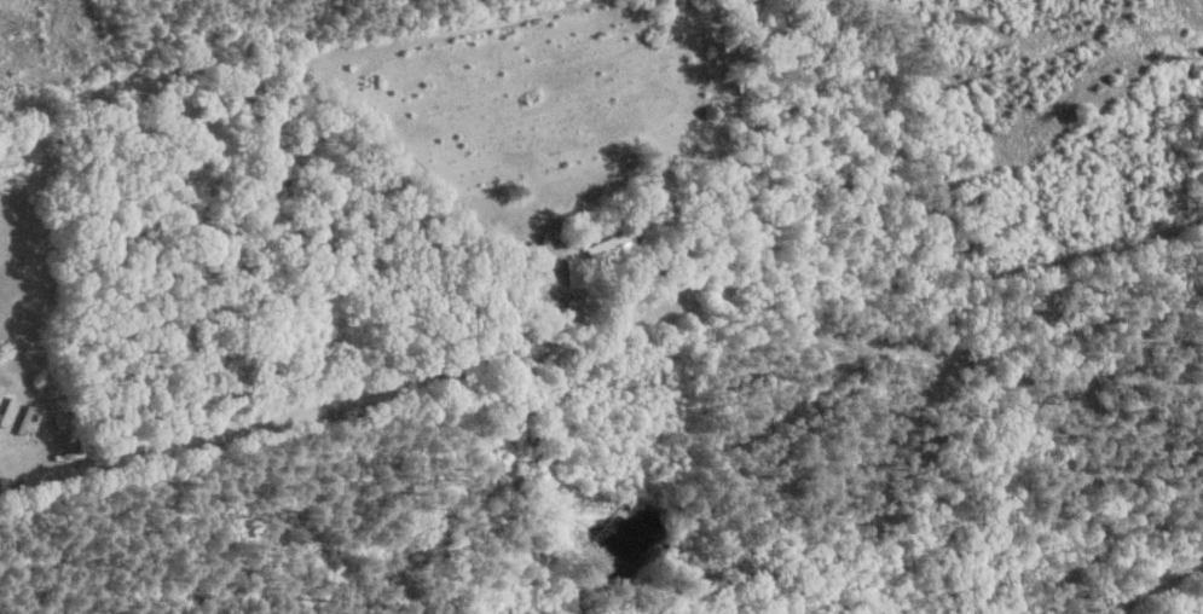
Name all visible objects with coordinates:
building: (592, 261)

